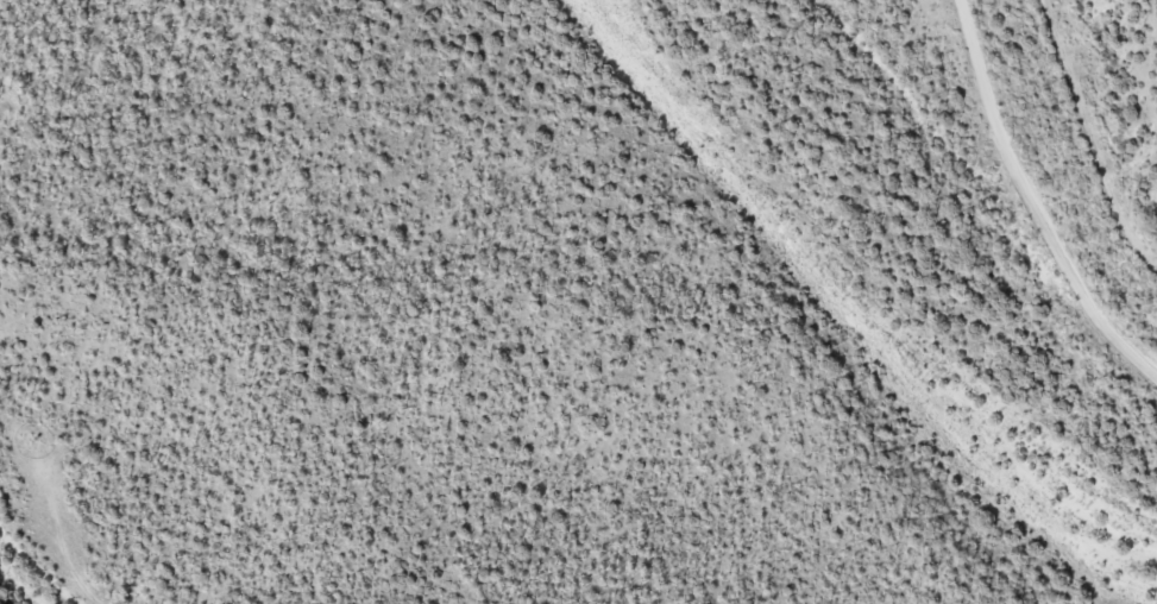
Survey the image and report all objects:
road: (1037, 197)

